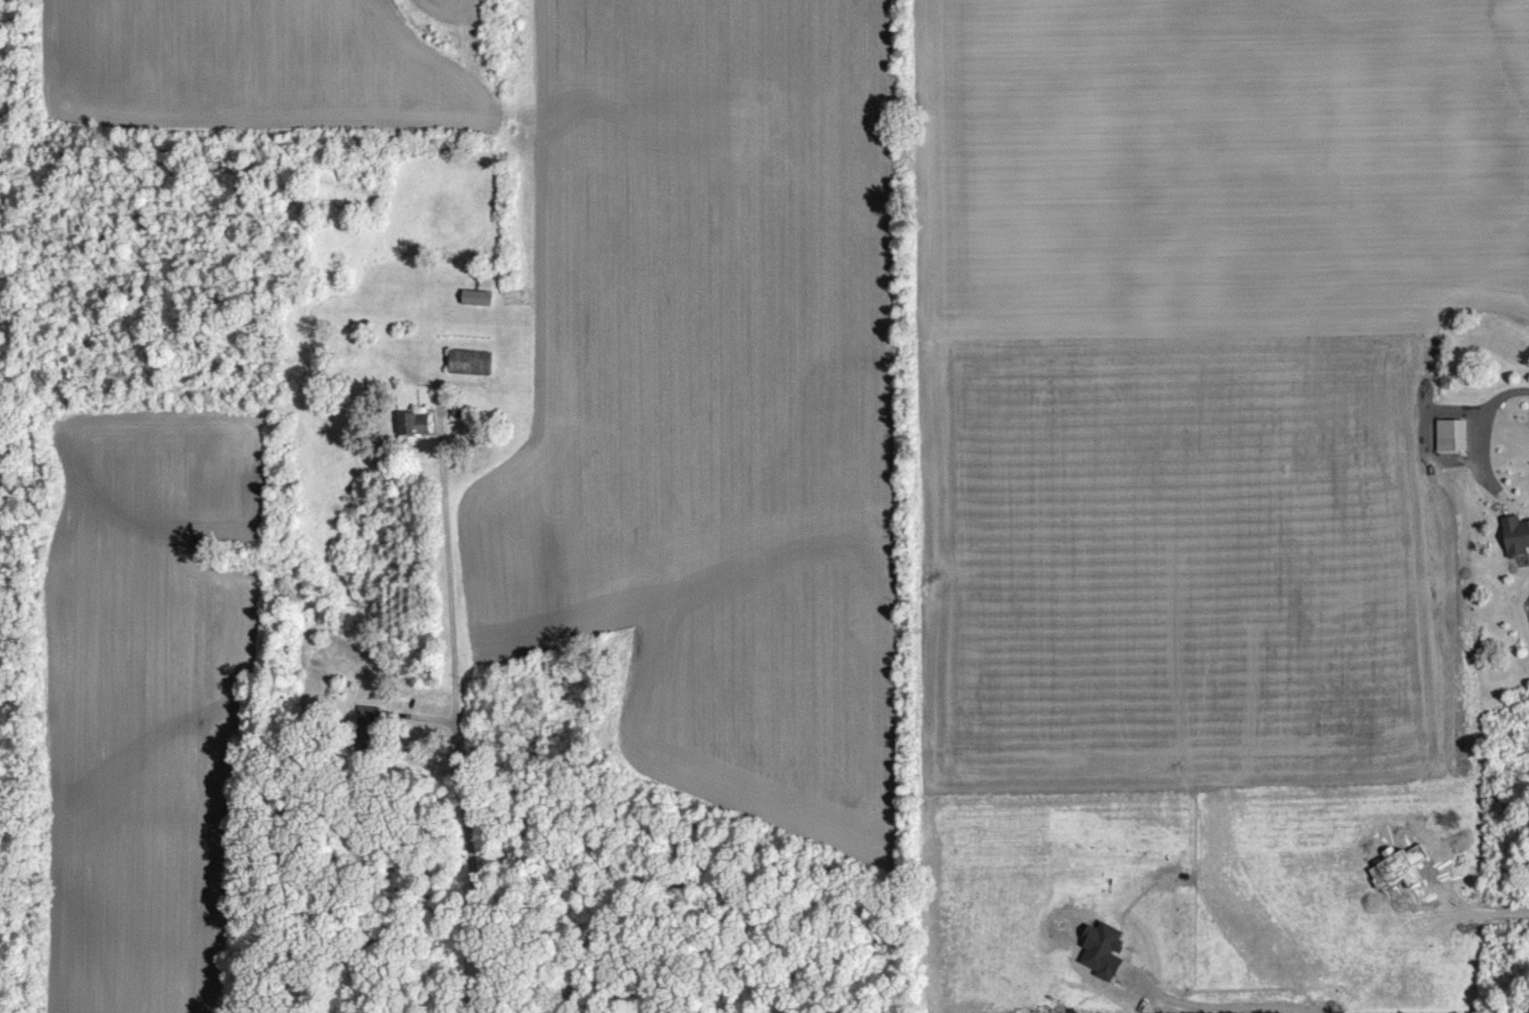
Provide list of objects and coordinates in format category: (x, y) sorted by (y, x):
building: (477, 309)
road: (1483, 432)
building: (415, 435)
building: (1451, 447)
building: (1516, 548)
road: (458, 735)
building: (368, 738)
road: (1483, 911)
road: (1219, 1002)

